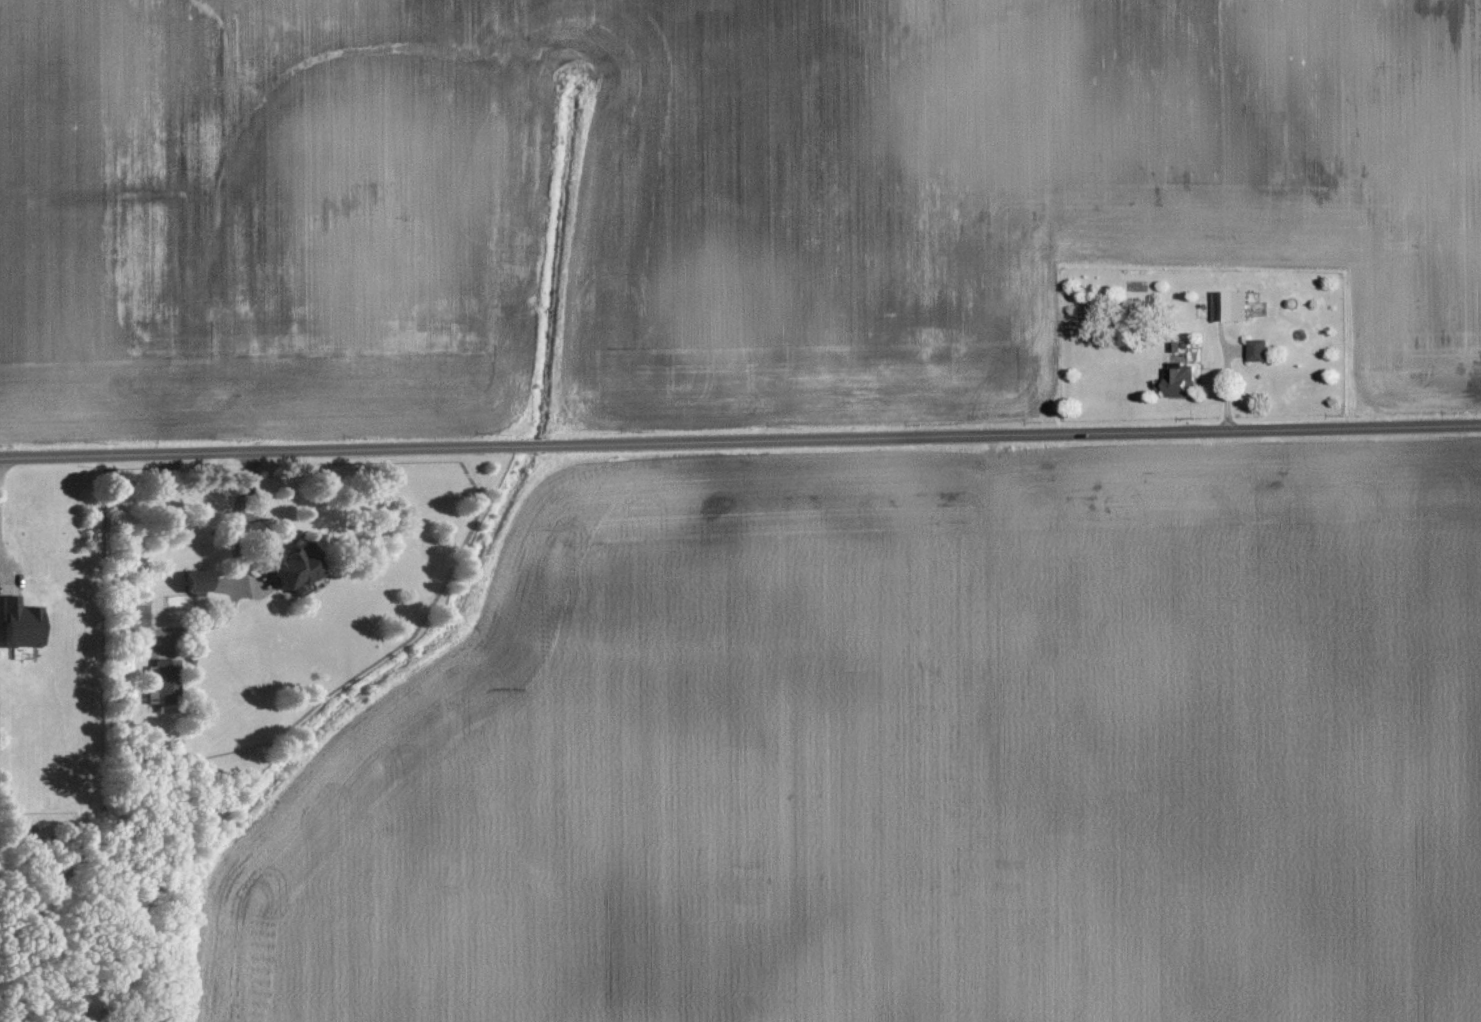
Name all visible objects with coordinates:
building: (1230, 305)
building: (1259, 350)
road: (740, 439)
road: (263, 508)
road: (236, 529)
building: (294, 566)
road: (4, 571)
building: (195, 581)
building: (20, 624)
building: (162, 681)

